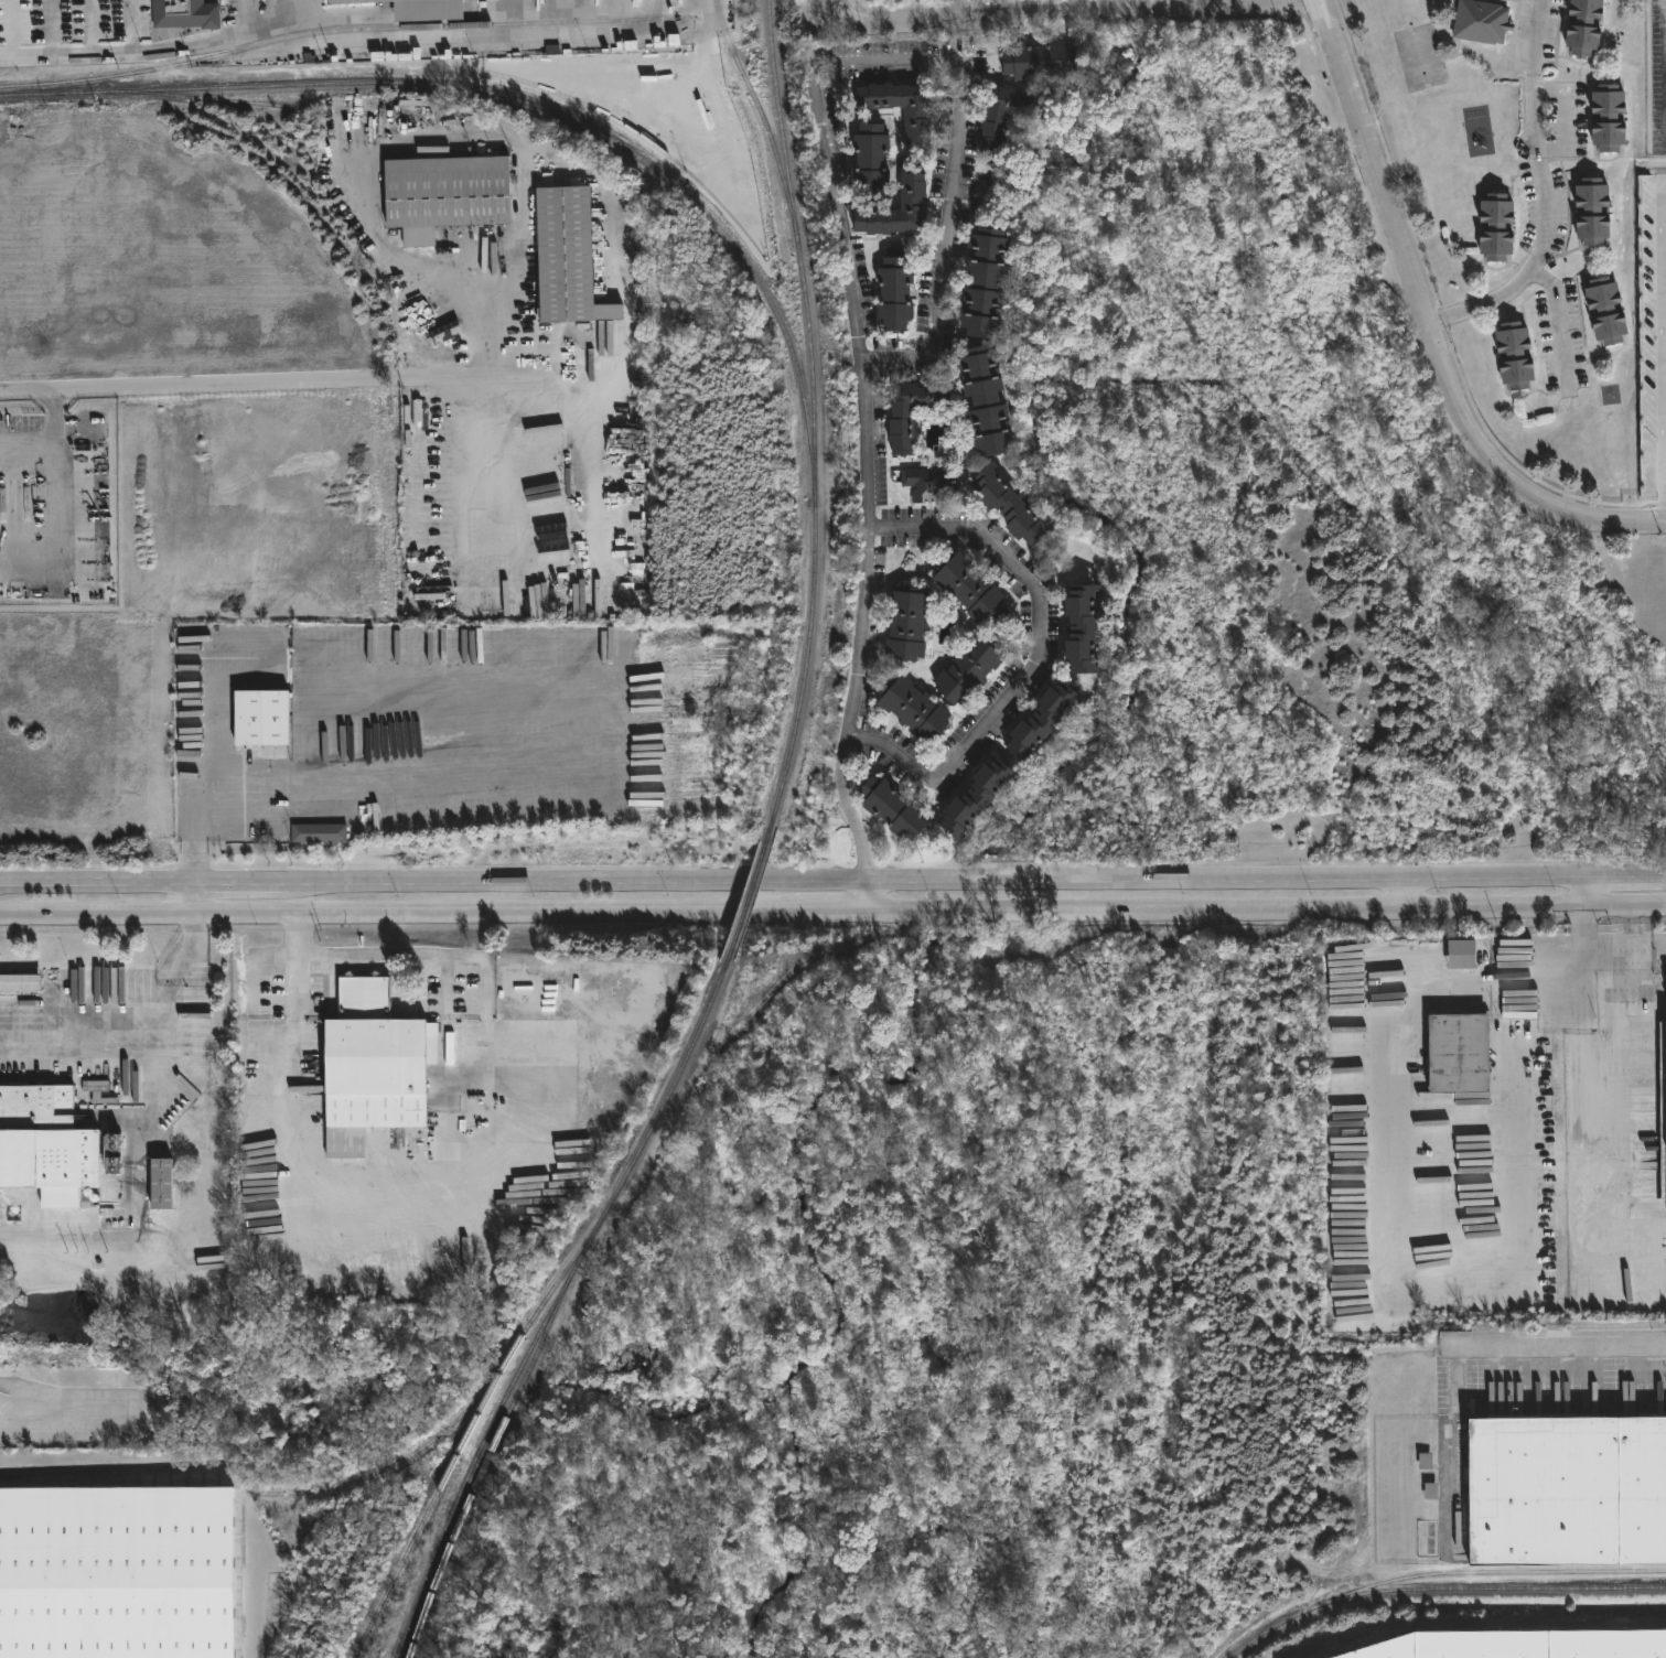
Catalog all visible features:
building: (352, 0)
building: (430, 9)
road: (1066, 12)
building: (186, 13)
building: (1477, 20)
building: (1578, 26)
railway: (346, 30)
road: (206, 41)
road: (92, 53)
building: (1041, 60)
railway: (523, 101)
railway: (251, 103)
building: (901, 106)
building: (1009, 115)
building: (1603, 116)
railway: (761, 118)
road: (390, 139)
building: (871, 162)
road: (1547, 192)
building: (448, 194)
building: (894, 208)
building: (1588, 211)
road: (841, 216)
building: (1492, 227)
building: (569, 256)
building: (985, 282)
building: (894, 290)
building: (1601, 310)
road: (1556, 319)
road: (1427, 325)
building: (1513, 355)
road: (1664, 359)
road: (301, 380)
building: (987, 400)
railway: (814, 413)
building: (902, 431)
road: (30, 443)
road: (491, 471)
building: (934, 485)
road: (61, 500)
building: (1010, 505)
building: (970, 590)
building: (906, 624)
building: (1084, 627)
road: (1038, 661)
building: (969, 669)
building: (916, 709)
building: (264, 718)
building: (1043, 721)
road: (370, 751)
building: (976, 798)
building: (892, 808)
building: (321, 831)
road: (195, 865)
road: (1268, 878)
road: (533, 882)
road: (97, 884)
railway: (750, 892)
road: (1578, 892)
road: (1400, 893)
road: (871, 897)
road: (193, 901)
road: (1268, 911)
road: (582, 915)
road: (147, 917)
road: (1579, 943)
building: (1455, 952)
building: (21, 981)
building: (1516, 1032)
building: (1451, 1052)
road: (159, 1056)
building: (376, 1061)
road: (1518, 1078)
building: (1662, 1109)
road: (1591, 1113)
building: (52, 1143)
building: (163, 1183)
road: (505, 1192)
road: (137, 1210)
road: (1388, 1266)
railway: (551, 1302)
road: (1561, 1342)
building: (4, 1403)
building: (141, 1415)
railway: (453, 1420)
road: (53, 1424)
railway: (483, 1460)
building: (1563, 1490)
railway: (434, 1493)
railway: (1490, 1569)
building: (118, 1573)
railway: (1438, 1587)
building: (1519, 1645)

